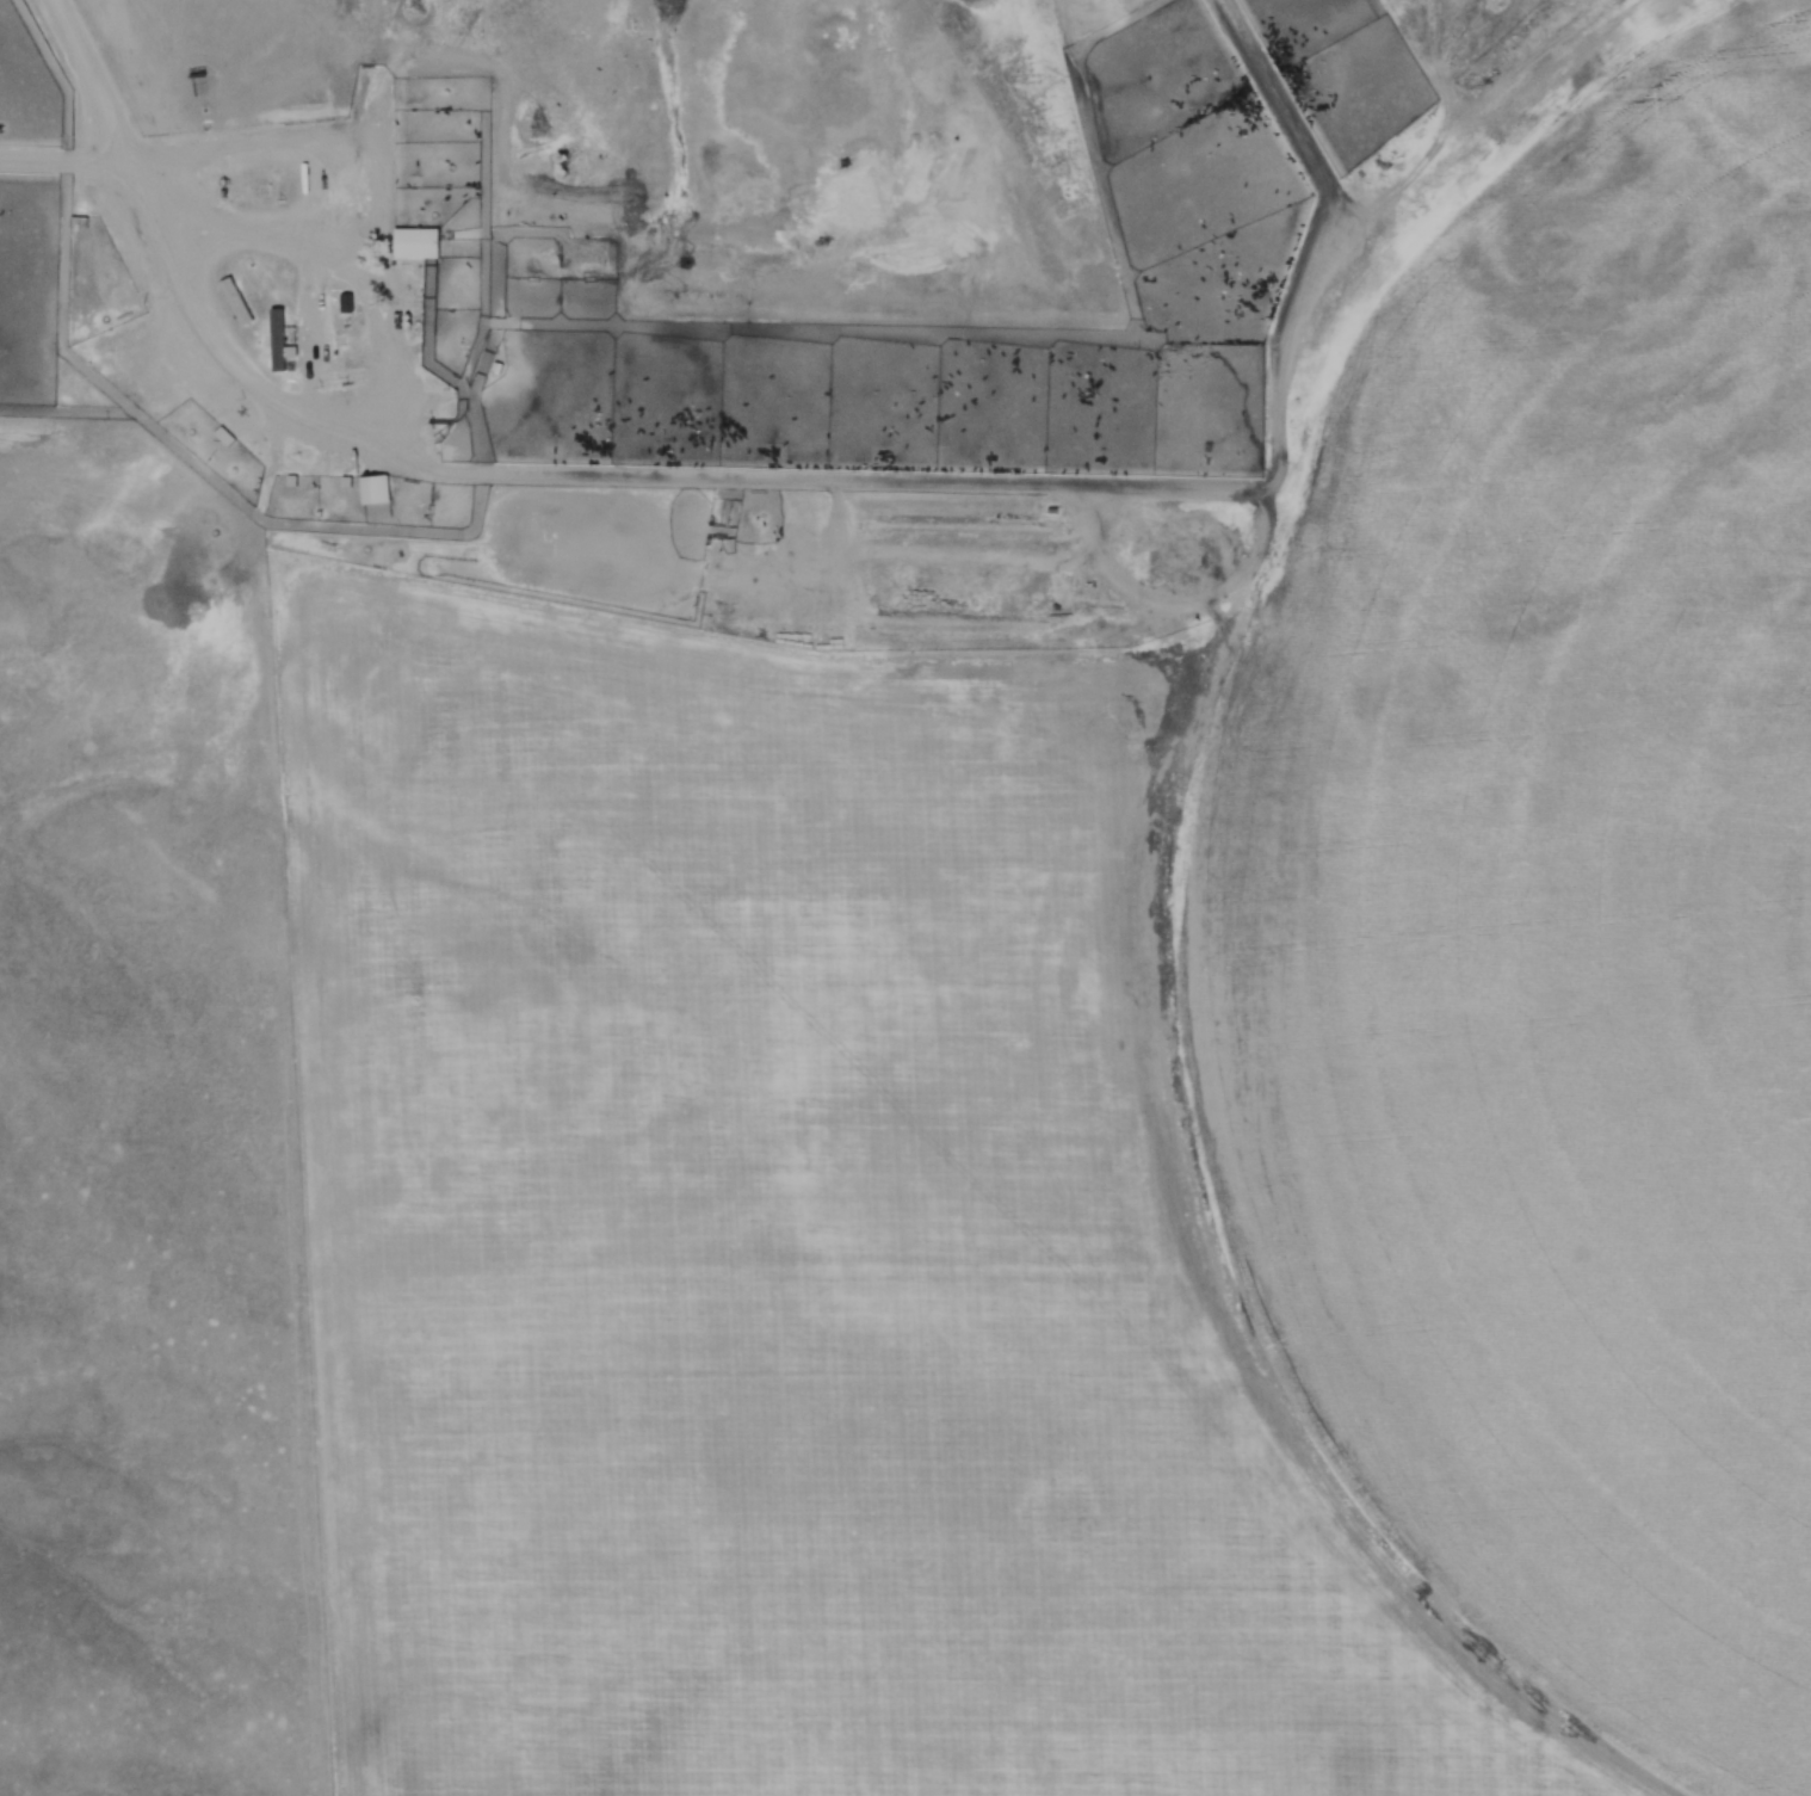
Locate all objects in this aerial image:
road: (267, 137)
building: (188, 185)
building: (418, 247)
road: (305, 257)
road: (208, 321)
road: (1061, 488)
building: (370, 494)
crop: (1108, 1084)

